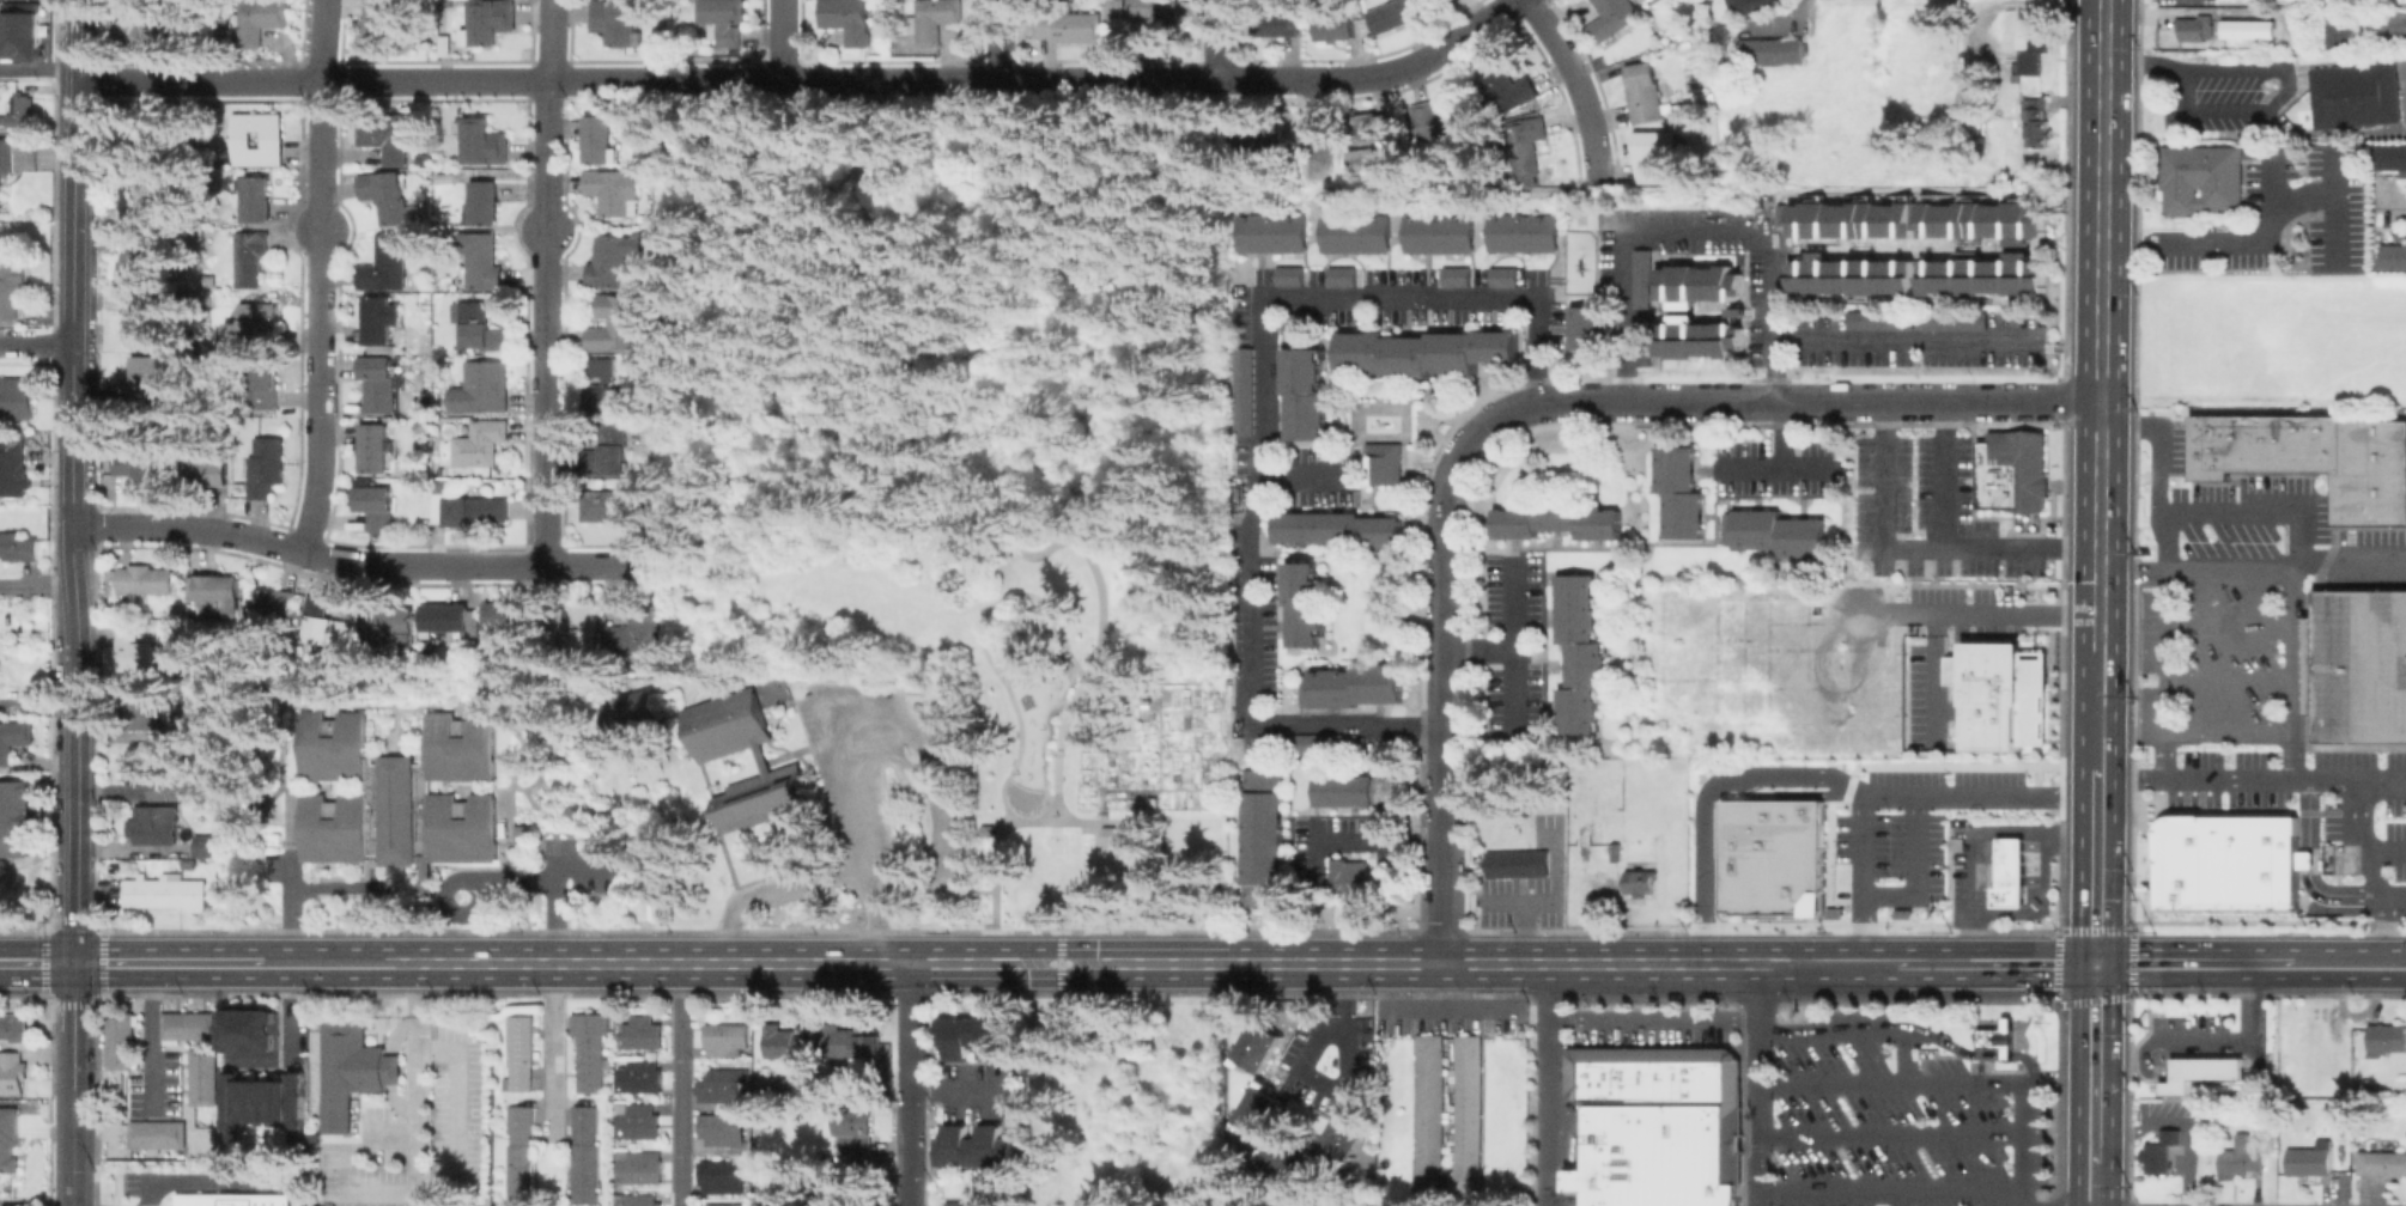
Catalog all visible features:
building: (2240, 0)
building: (2314, 0)
building: (1432, 1)
building: (1645, 1)
building: (1440, 2)
building: (1755, 5)
building: (1119, 7)
building: (1393, 14)
building: (1158, 17)
building: (1611, 18)
building: (259, 19)
building: (849, 19)
building: (935, 19)
building: (490, 20)
building: (724, 20)
building: (618, 22)
building: (1278, 23)
building: (146, 24)
building: (385, 24)
building: (1073, 25)
building: (1335, 25)
building: (2193, 28)
building: (2248, 28)
building: (2370, 28)
building: (24, 33)
road: (783, 39)
road: (1002, 39)
road: (1223, 39)
building: (446, 43)
building: (1772, 50)
building: (2029, 51)
road: (2261, 63)
road: (38, 71)
road: (806, 79)
building: (1508, 85)
road: (1578, 86)
building: (1645, 92)
building: (2357, 93)
building: (23, 108)
road: (858, 120)
building: (1440, 120)
building: (2037, 120)
building: (1378, 126)
building: (162, 127)
road: (1324, 132)
building: (385, 134)
building: (274, 139)
building: (600, 139)
building: (486, 141)
building: (1263, 141)
building: (1526, 144)
building: (1659, 154)
building: (2390, 158)
building: (1363, 159)
building: (5, 167)
building: (2203, 178)
road: (2272, 179)
building: (614, 189)
building: (389, 195)
building: (257, 197)
building: (129, 199)
building: (486, 201)
road: (2332, 206)
road: (2392, 207)
building: (1918, 219)
building: (1270, 232)
building: (1436, 232)
building: (1520, 232)
road: (1695, 232)
building: (1354, 233)
road: (2226, 239)
building: (1798, 250)
road: (704, 251)
building: (251, 257)
building: (2394, 257)
building: (484, 258)
building: (613, 260)
building: (133, 261)
building: (387, 263)
building: (1916, 274)
building: (1287, 275)
road: (320, 276)
building: (1339, 276)
building: (1454, 276)
building: (1501, 276)
building: (1645, 278)
road: (548, 282)
road: (734, 284)
building: (1705, 284)
building: (12, 287)
road: (75, 292)
building: (381, 318)
building: (139, 319)
building: (616, 322)
building: (1882, 323)
building: (1958, 323)
building: (254, 324)
building: (481, 325)
road: (2100, 325)
building: (1584, 327)
building: (1697, 339)
road: (1902, 339)
road: (37, 342)
building: (384, 349)
building: (1422, 352)
building: (148, 380)
building: (379, 382)
building: (265, 383)
building: (484, 386)
building: (609, 389)
building: (1241, 391)
building: (1304, 392)
building: (17, 398)
road: (1859, 398)
road: (1543, 401)
road: (1263, 420)
building: (481, 441)
building: (2262, 441)
building: (2241, 443)
building: (2278, 443)
building: (2298, 443)
building: (2326, 443)
building: (614, 446)
building: (2207, 446)
building: (376, 447)
road: (1780, 459)
building: (1383, 462)
road: (1882, 464)
building: (139, 465)
building: (265, 465)
road: (1752, 468)
building: (206, 470)
building: (2015, 470)
building: (13, 471)
building: (2371, 473)
building: (1677, 491)
building: (618, 504)
building: (377, 505)
building: (469, 508)
road: (1073, 513)
building: (1556, 520)
building: (1333, 528)
building: (1773, 532)
building: (18, 546)
road: (1949, 546)
road: (363, 564)
road: (2162, 571)
road: (2253, 571)
road: (1444, 575)
road: (2296, 578)
building: (144, 580)
road: (37, 585)
building: (220, 589)
building: (271, 603)
building: (1301, 603)
building: (177, 608)
road: (1908, 613)
road: (2015, 613)
building: (511, 614)
building: (448, 616)
building: (320, 620)
building: (389, 622)
road: (2229, 626)
building: (637, 632)
road: (1512, 641)
road: (982, 645)
parking lot: (1509, 652)
building: (1576, 652)
building: (136, 653)
building: (2357, 665)
road: (1086, 671)
road: (1039, 674)
road: (1932, 678)
road: (2228, 678)
building: (1349, 686)
road: (1512, 686)
building: (1999, 694)
building: (150, 706)
road: (2097, 706)
building: (637, 714)
road: (2228, 733)
building: (13, 737)
building: (1314, 741)
building: (715, 753)
building: (147, 765)
road: (911, 774)
road: (1813, 776)
road: (2096, 776)
road: (2201, 776)
road: (2320, 776)
building: (184, 787)
building: (1350, 791)
road: (1790, 793)
building: (403, 796)
building: (2224, 811)
road: (1100, 812)
building: (16, 818)
road: (1014, 820)
road: (991, 821)
building: (156, 824)
building: (1610, 827)
building: (984, 828)
building: (1113, 834)
building: (1260, 837)
road: (1976, 839)
building: (212, 845)
road: (1381, 845)
road: (1441, 845)
road: (1986, 845)
road: (2010, 845)
road: (2031, 845)
road: (2384, 846)
road: (1986, 855)
road: (2010, 855)
road: (2031, 855)
building: (1773, 857)
road: (2307, 858)
building: (2228, 860)
building: (1515, 863)
road: (1986, 867)
road: (2010, 867)
road: (2031, 867)
road: (2372, 869)
road: (814, 871)
road: (1916, 871)
building: (2009, 872)
building: (1347, 877)
road: (2095, 878)
road: (1863, 879)
road: (1986, 879)
road: (2010, 879)
road: (2031, 879)
building: (1641, 882)
road: (333, 885)
parking lot: (1525, 885)
road: (551, 889)
building: (169, 891)
road: (74, 895)
road: (2347, 896)
road: (1555, 897)
road: (2040, 902)
road: (288, 907)
building: (1836, 913)
building: (1904, 913)
road: (1025, 930)
road: (1524, 932)
road: (1058, 962)
road: (36, 963)
traffic signals: (73, 963)
road: (172, 963)
road: (1067, 963)
road: (2195, 963)
road: (1875, 964)
road: (1992, 964)
traffic signals: (2095, 964)
road: (2351, 964)
road: (1342, 988)
road: (1447, 1009)
road: (288, 1013)
road: (1653, 1019)
road: (2254, 1019)
building: (190, 1025)
building: (14, 1028)
road: (1859, 1028)
building: (248, 1029)
building: (639, 1033)
parking lot: (1654, 1034)
building: (973, 1035)
building: (1997, 1037)
road: (2171, 1037)
building: (121, 1038)
road: (148, 1038)
building: (725, 1038)
building: (2386, 1038)
building: (785, 1042)
building: (851, 1042)
building: (1254, 1044)
road: (1950, 1044)
building: (588, 1048)
road: (551, 1049)
road: (2005, 1053)
building: (517, 1054)
building: (1711, 1060)
road: (2095, 1062)
road: (2030, 1064)
road: (1306, 1068)
road: (2205, 1068)
building: (348, 1070)
building: (2198, 1071)
building: (1591, 1073)
building: (12, 1074)
building: (1632, 1074)
building: (637, 1076)
building: (1657, 1076)
building: (1673, 1076)
road: (409, 1078)
building: (1711, 1080)
building: (202, 1082)
road: (675, 1084)
building: (719, 1084)
road: (903, 1084)
road: (1548, 1084)
road: (1951, 1084)
road: (1760, 1085)
building: (783, 1089)
building: (1711, 1096)
building: (259, 1102)
building: (1256, 1110)
building: (1426, 1111)
building: (1465, 1114)
building: (636, 1120)
parking lot: (1896, 1123)
building: (719, 1128)
building: (857, 1128)
road: (1890, 1131)
road: (387, 1132)
building: (159, 1133)
building: (1342, 1133)
parking lot: (414, 1135)
building: (976, 1144)
building: (2161, 1151)
building: (518, 1153)
building: (583, 1153)
building: (1659, 1155)
building: (7, 1156)
building: (2240, 1161)
building: (2309, 1161)
building: (2382, 1162)
building: (637, 1165)
road: (454, 1176)
building: (719, 1176)
road: (184, 1182)
park: (205, 1182)
road: (2092, 1184)
road: (1885, 1189)
road: (1901, 1198)
building: (229, 1199)
building: (636, 1199)
building: (780, 1199)
building: (978, 1201)
building: (725, 1204)
road: (6, 1205)
road: (87, 1205)
road: (156, 1205)

